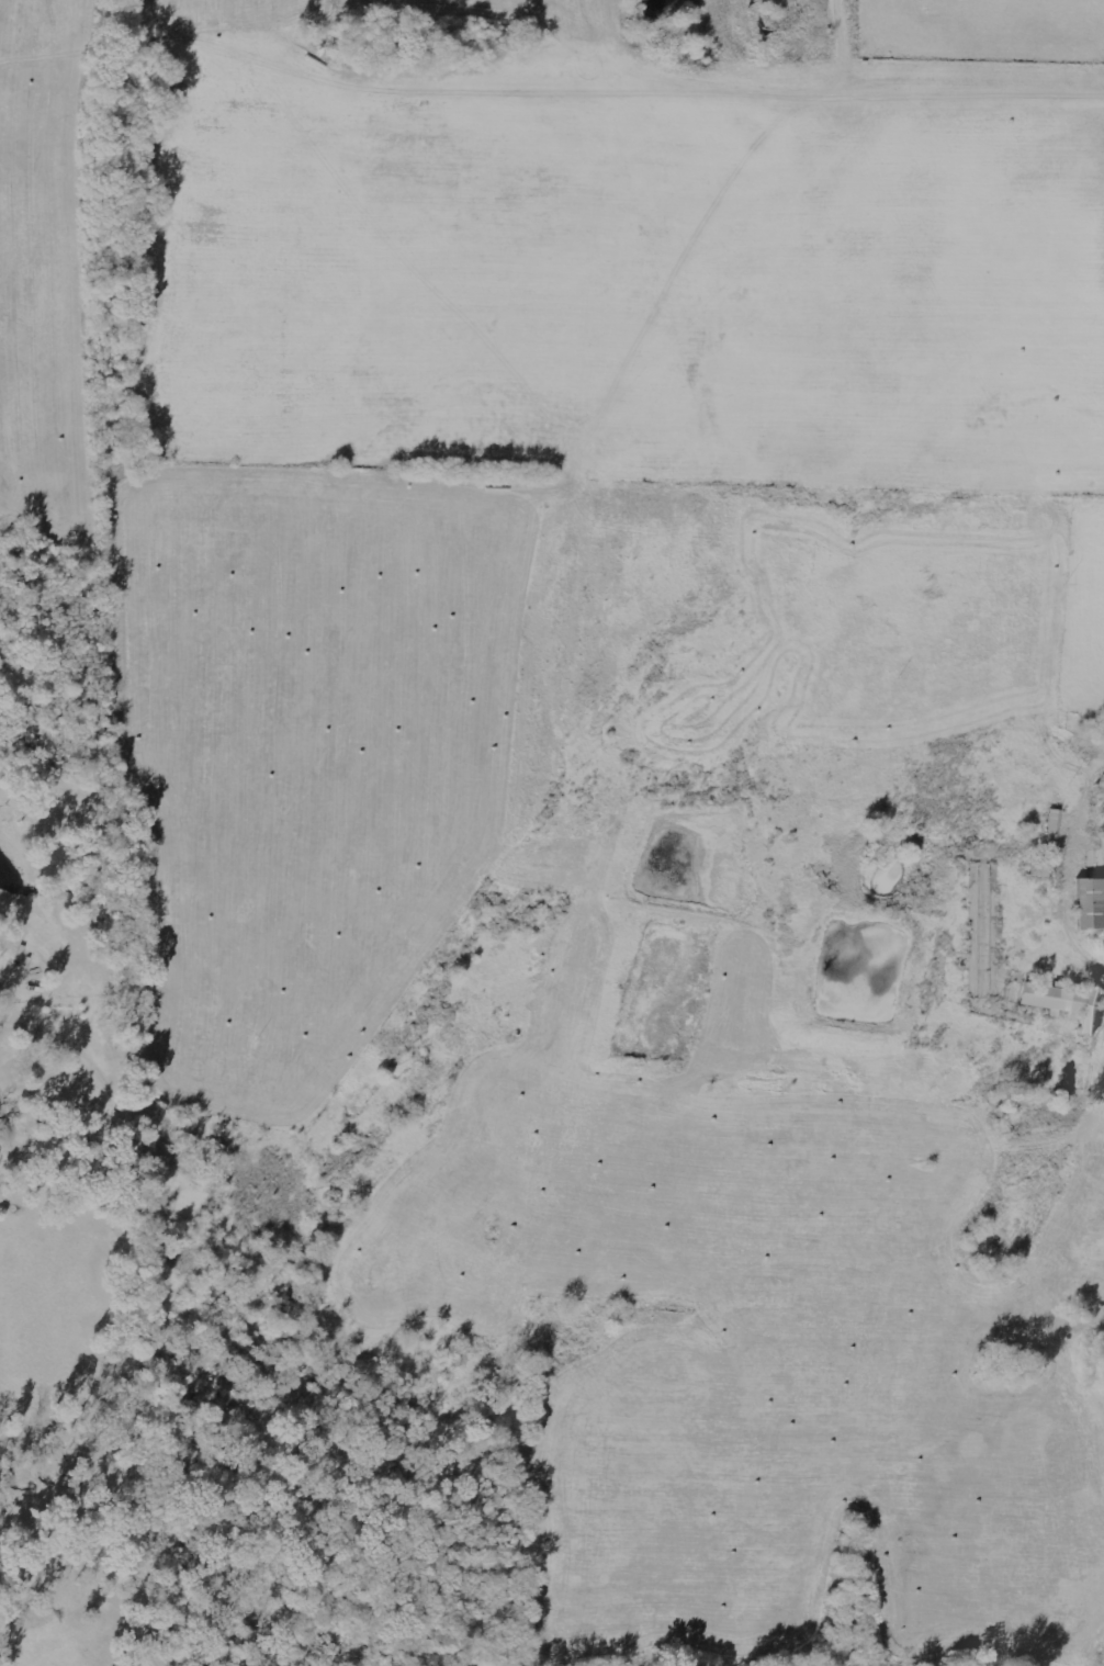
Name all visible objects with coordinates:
road: (911, 573)
building: (1091, 903)
building: (1067, 1003)
road: (114, 1546)

